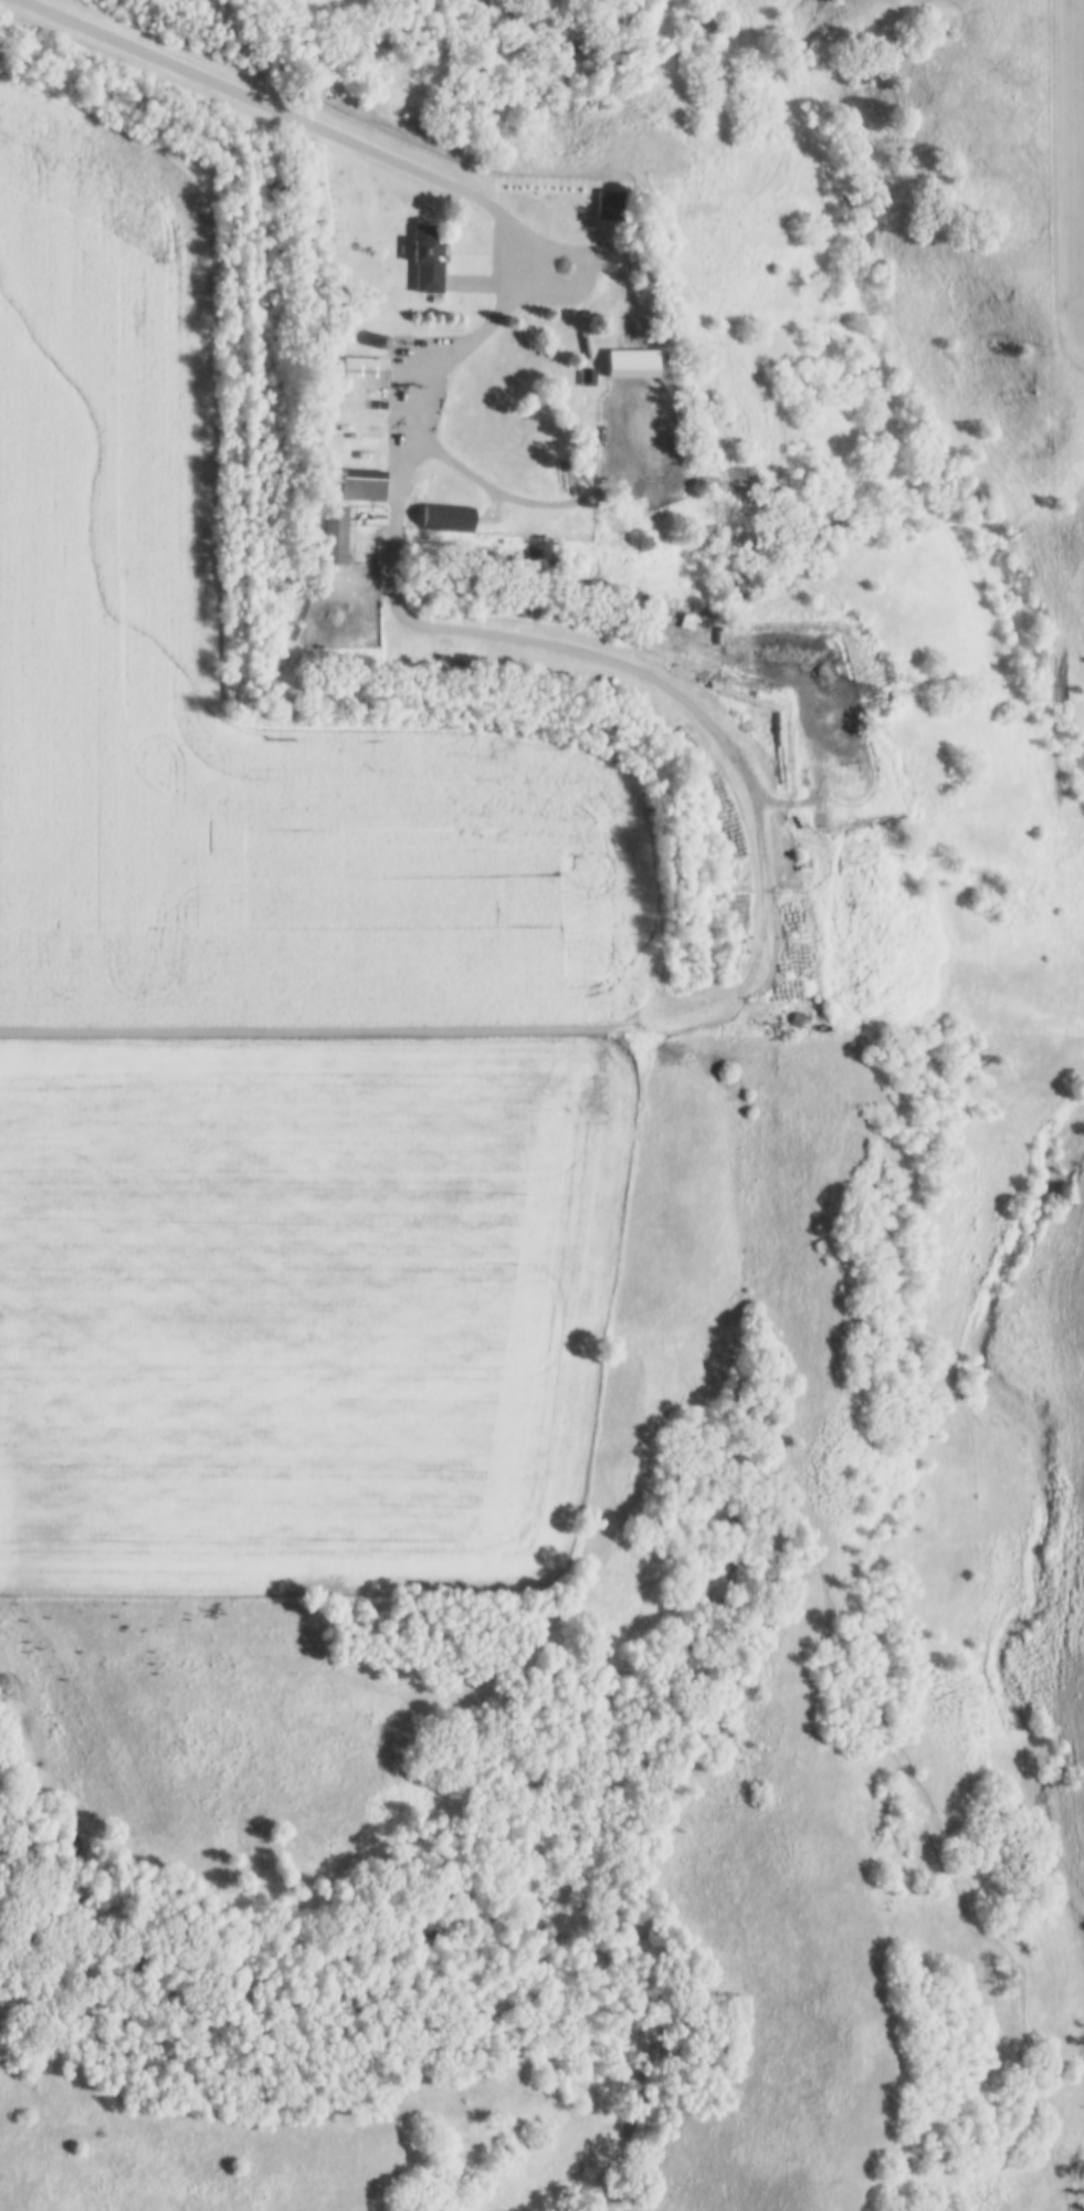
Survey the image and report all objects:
building: (538, 187)
building: (609, 202)
building: (425, 258)
building: (381, 339)
silo: (381, 339)
road: (476, 339)
building: (365, 368)
building: (587, 376)
building: (430, 475)
building: (362, 483)
building: (446, 516)
building: (335, 536)
building: (804, 865)
silo: (804, 865)
road: (736, 1002)

